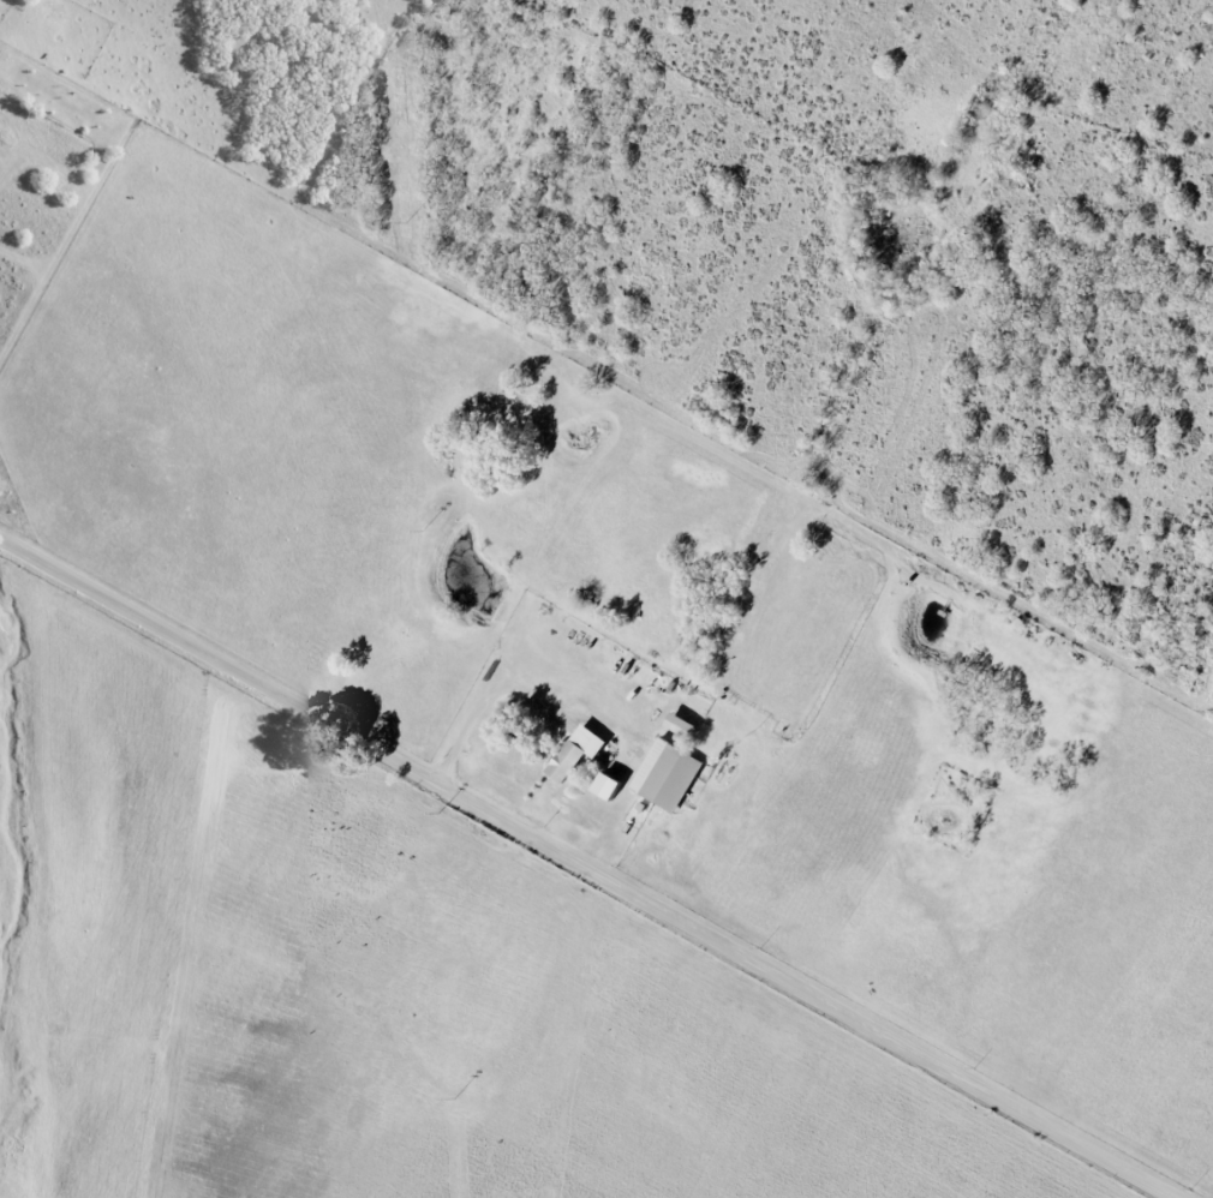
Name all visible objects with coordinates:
power tower: (412, 218)
power tower: (431, 526)
building: (679, 725)
building: (575, 751)
building: (667, 774)
building: (605, 786)
power tower: (447, 808)
road: (594, 858)
power tower: (460, 1095)

